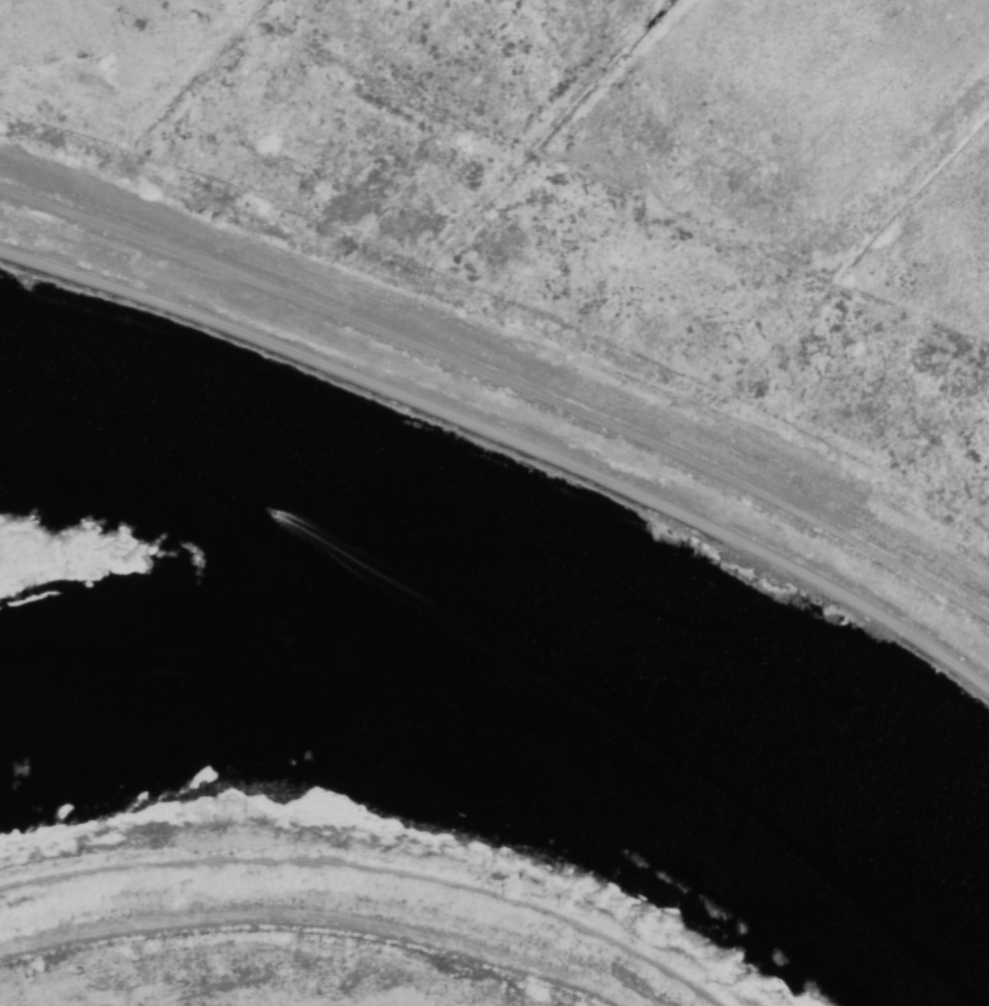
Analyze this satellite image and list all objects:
crop: (595, 203)
road: (508, 438)
river: (522, 620)
river: (255, 654)
crop: (213, 969)

